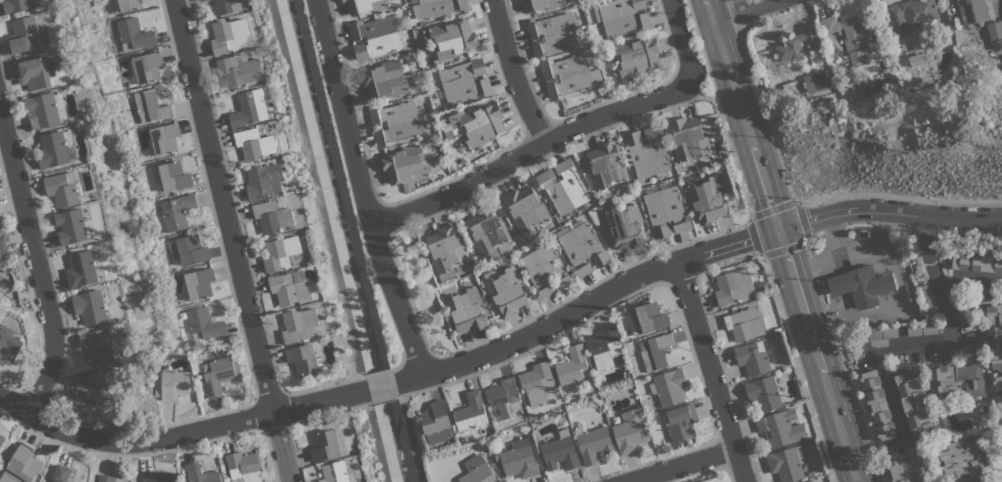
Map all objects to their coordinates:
building: (201, 0)
building: (520, 0)
building: (542, 4)
building: (18, 5)
building: (125, 5)
building: (228, 6)
building: (365, 6)
building: (438, 8)
road: (751, 11)
building: (972, 11)
road: (736, 15)
building: (911, 15)
building: (622, 16)
building: (994, 29)
building: (28, 34)
building: (552, 34)
building: (134, 35)
road: (679, 35)
building: (850, 35)
building: (229, 36)
building: (376, 36)
building: (450, 38)
building: (794, 44)
building: (635, 57)
building: (916, 60)
building: (147, 67)
building: (240, 69)
building: (36, 72)
road: (510, 74)
building: (570, 75)
building: (385, 80)
building: (817, 80)
building: (465, 81)
building: (150, 106)
road: (587, 107)
building: (250, 108)
road: (718, 108)
road: (762, 109)
building: (43, 110)
building: (394, 122)
building: (475, 125)
building: (163, 139)
building: (688, 139)
building: (255, 144)
building: (53, 149)
road: (533, 150)
building: (647, 152)
building: (405, 165)
building: (607, 167)
building: (172, 176)
building: (265, 180)
building: (563, 187)
building: (62, 188)
road: (361, 188)
building: (707, 198)
building: (526, 209)
building: (665, 209)
building: (177, 211)
building: (273, 216)
road: (750, 217)
building: (624, 224)
building: (74, 226)
building: (1, 228)
traffic signals: (777, 230)
building: (488, 231)
road: (233, 240)
road: (780, 241)
road: (809, 241)
building: (3, 245)
building: (582, 247)
building: (191, 250)
building: (281, 253)
road: (36, 255)
building: (977, 262)
building: (1, 263)
road: (812, 267)
building: (82, 269)
building: (545, 270)
building: (455, 279)
road: (937, 283)
building: (198, 284)
gas station: (860, 285)
building: (734, 286)
building: (859, 286)
building: (290, 287)
building: (505, 289)
road: (820, 292)
building: (929, 299)
building: (91, 307)
building: (962, 311)
building: (647, 318)
road: (828, 318)
building: (205, 323)
building: (745, 324)
building: (299, 325)
building: (922, 329)
building: (882, 332)
building: (994, 335)
road: (499, 339)
road: (892, 343)
building: (98, 346)
building: (9, 347)
building: (605, 348)
building: (655, 351)
building: (752, 357)
building: (303, 358)
building: (572, 366)
road: (796, 368)
road: (711, 373)
building: (218, 374)
building: (957, 380)
building: (538, 383)
building: (997, 383)
building: (171, 384)
building: (94, 386)
building: (669, 386)
building: (764, 393)
building: (504, 398)
building: (914, 402)
building: (878, 404)
road: (854, 406)
building: (999, 406)
building: (471, 412)
building: (436, 422)
building: (681, 422)
building: (780, 428)
building: (1001, 429)
building: (628, 433)
building: (2, 439)
building: (593, 444)
building: (328, 445)
building: (560, 451)
building: (960, 457)
building: (519, 459)
building: (786, 463)
building: (906, 464)
road: (679, 465)
building: (22, 466)
building: (244, 467)
building: (477, 470)
building: (336, 472)
building: (61, 473)
building: (200, 473)
building: (156, 476)
building: (106, 478)
building: (812, 480)
building: (978, 480)
building: (706, 481)

